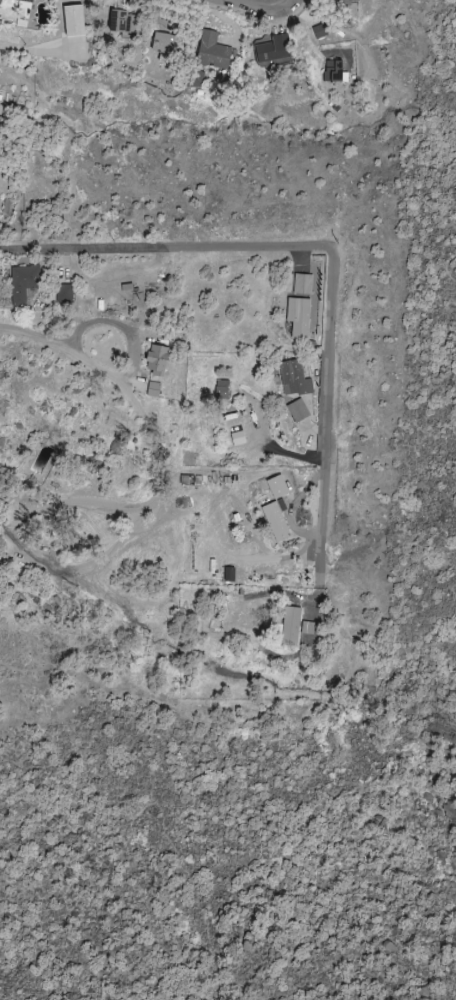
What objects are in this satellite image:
road: (258, 1)
building: (345, 2)
building: (6, 4)
building: (74, 21)
building: (122, 22)
building: (167, 46)
building: (272, 49)
road: (35, 50)
building: (212, 52)
building: (334, 72)
road: (272, 254)
building: (23, 283)
building: (302, 284)
building: (64, 294)
building: (298, 318)
road: (57, 346)
building: (157, 360)
building: (293, 379)
building: (153, 390)
building: (221, 390)
building: (298, 411)
building: (238, 439)
building: (277, 487)
building: (277, 520)
road: (323, 521)
building: (228, 575)
building: (290, 627)
building: (307, 628)

